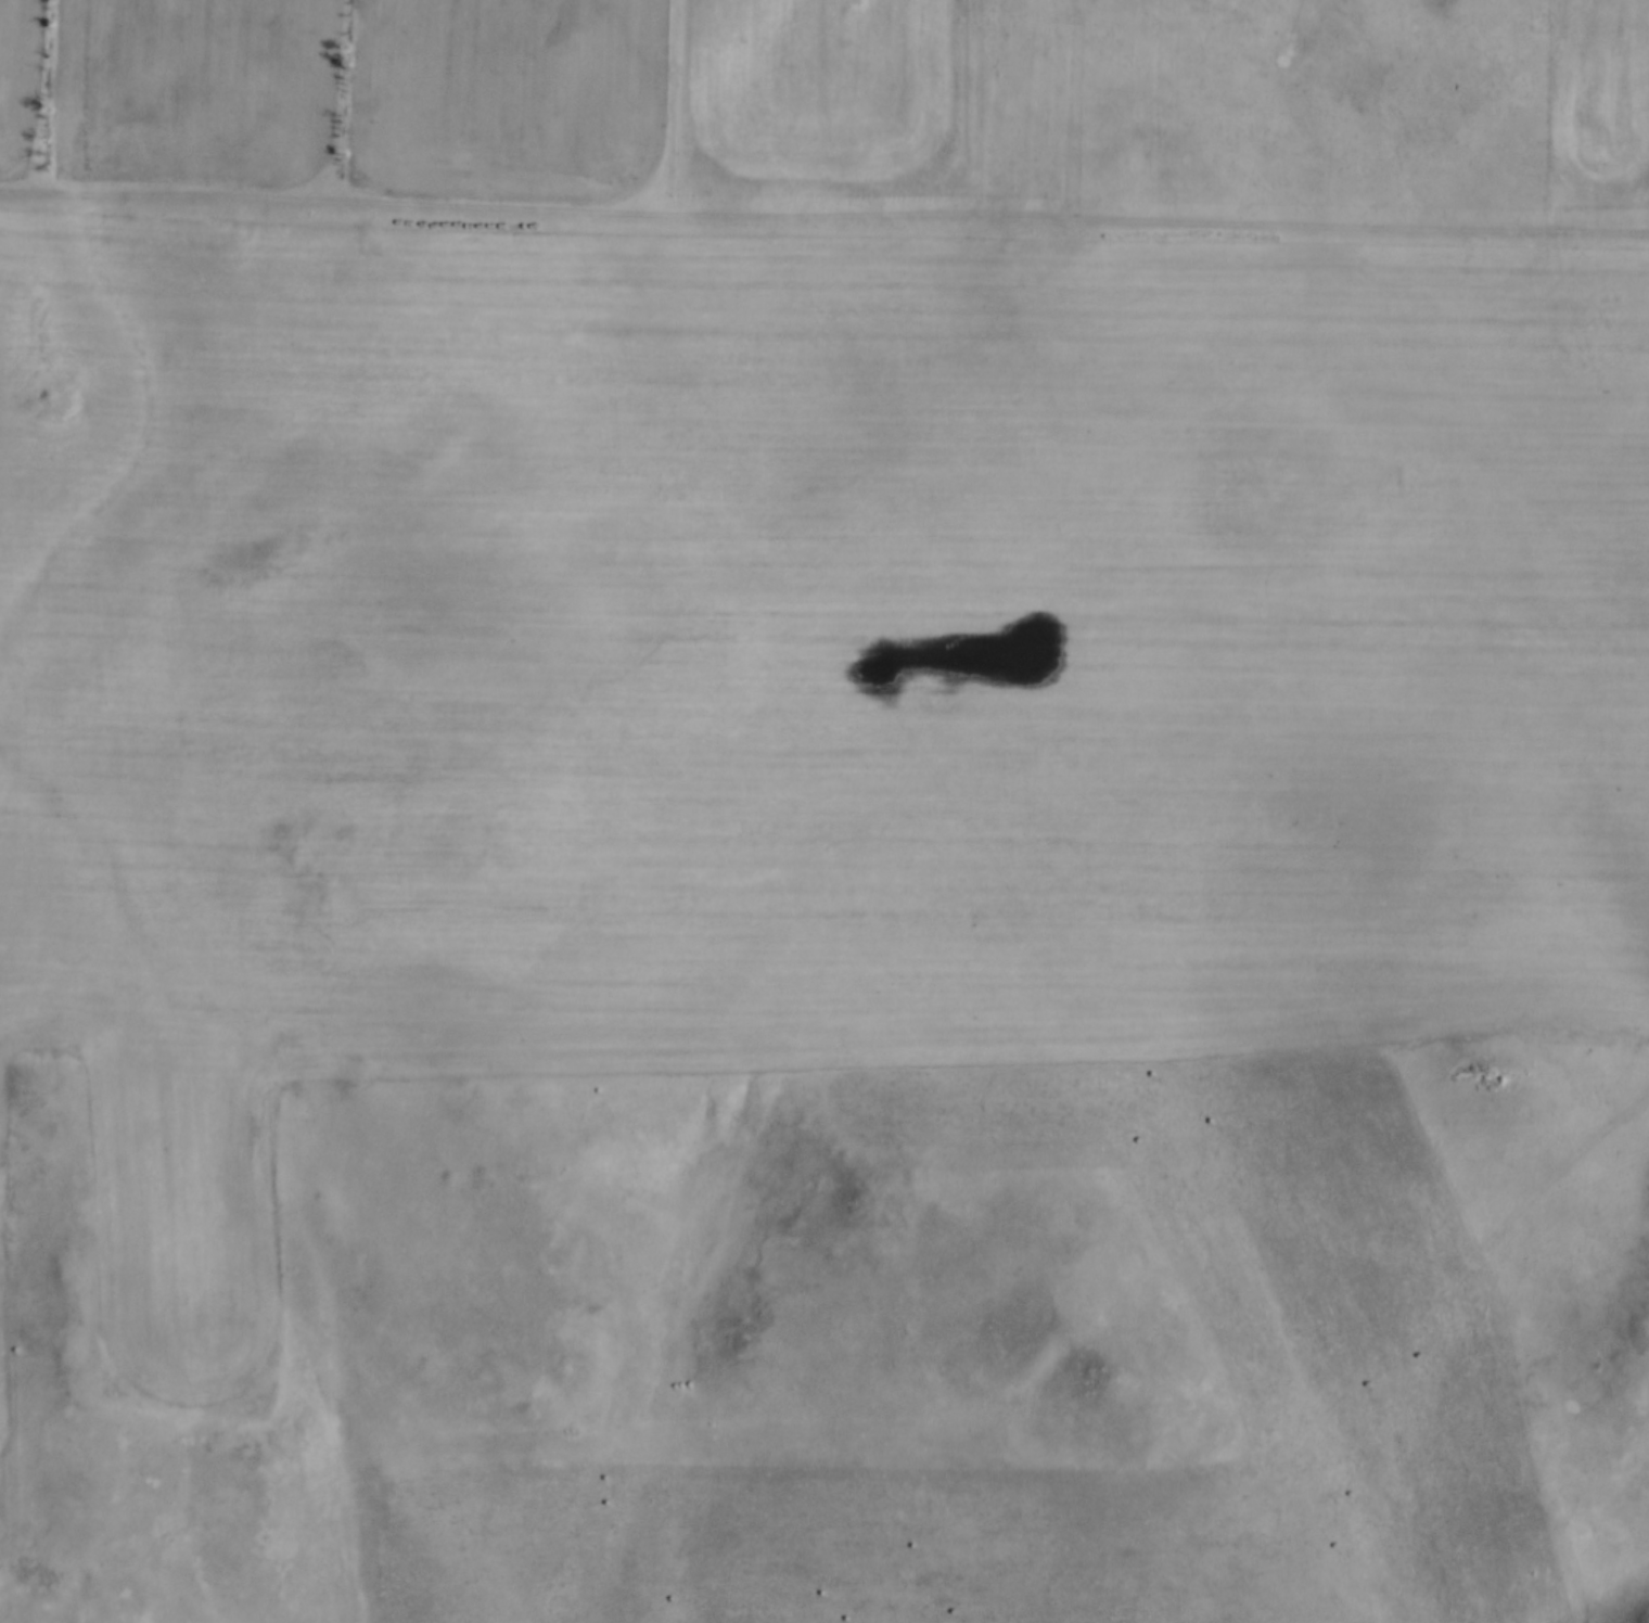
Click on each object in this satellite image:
road: (824, 215)
road: (424, 1430)

